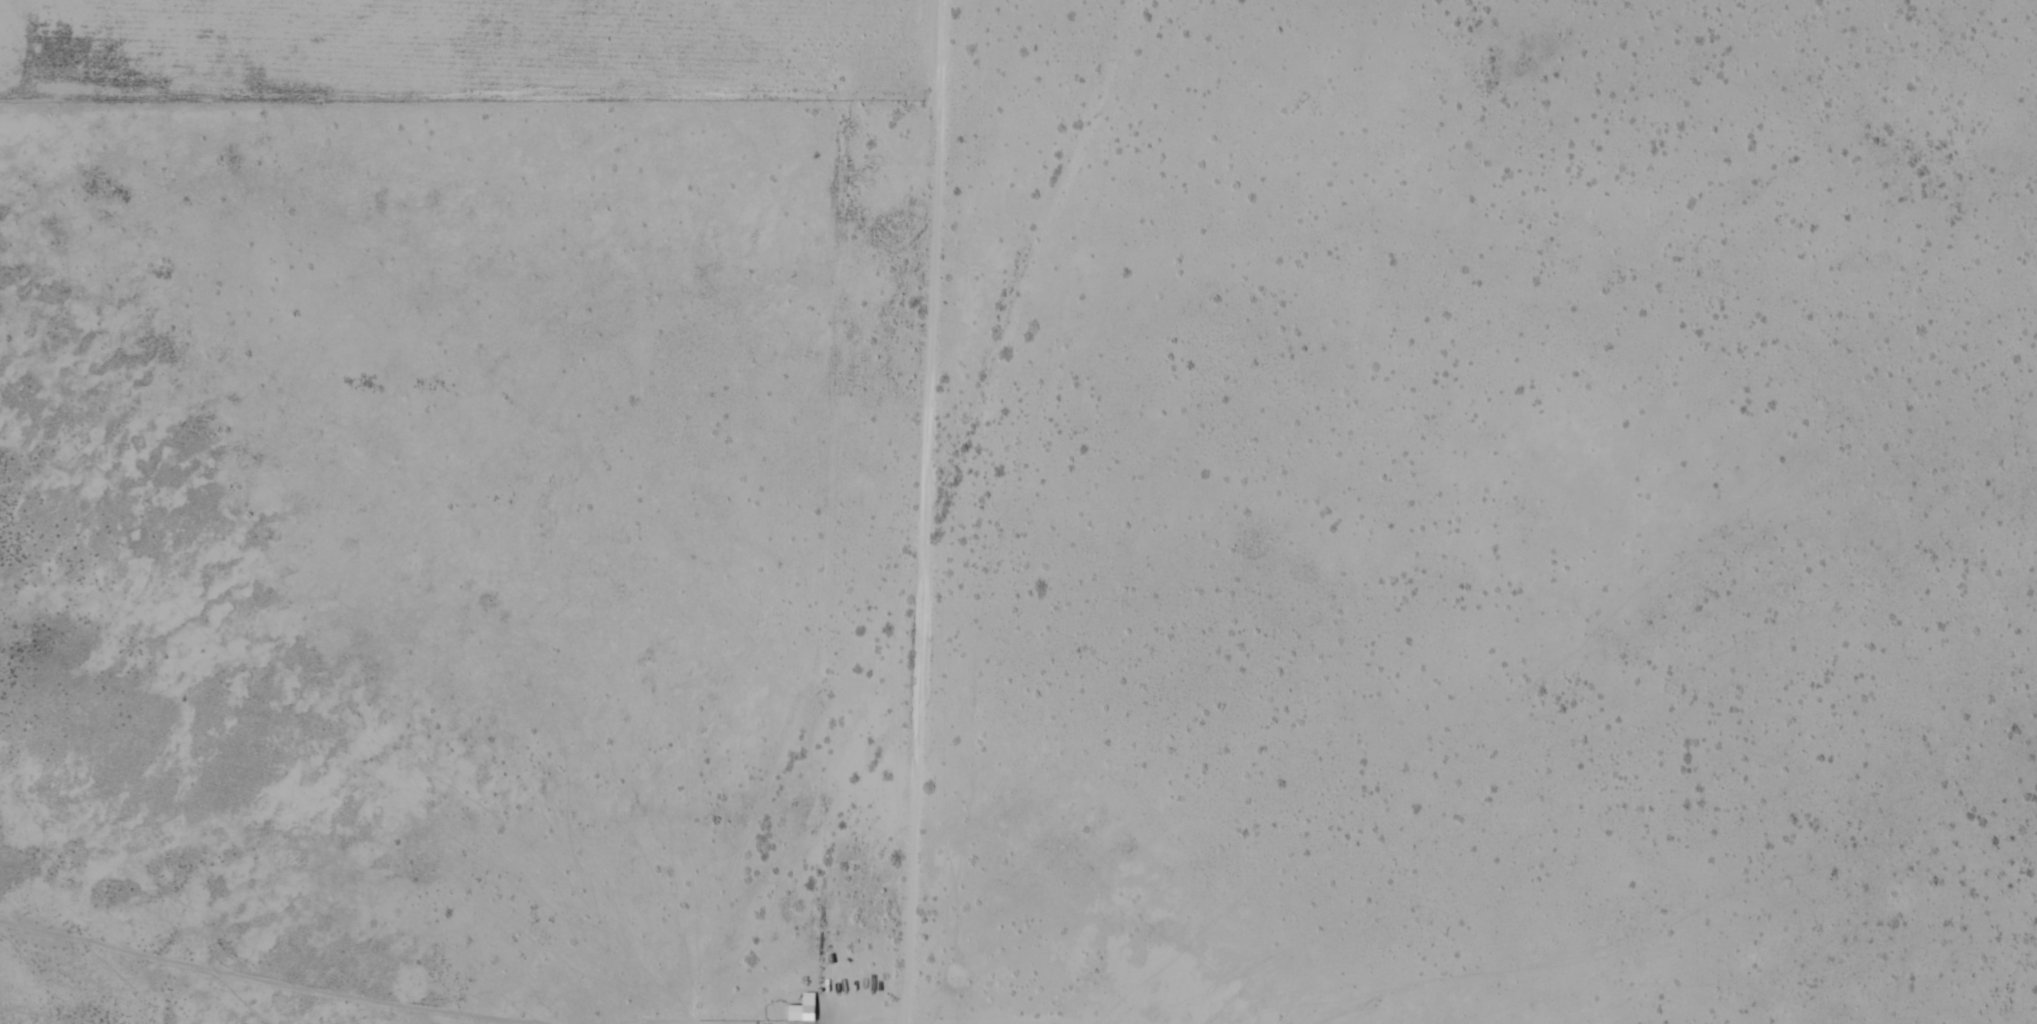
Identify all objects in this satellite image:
road: (1896, 166)

